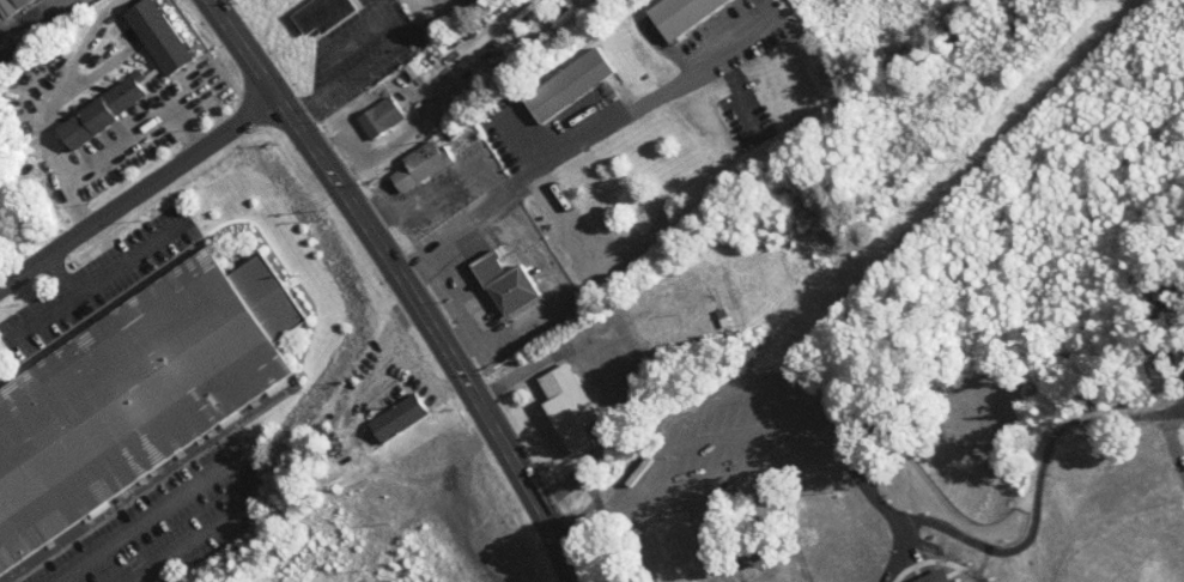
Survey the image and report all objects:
building: (11, 5)
building: (321, 14)
building: (679, 14)
building: (157, 36)
road: (375, 66)
building: (566, 85)
road: (657, 98)
road: (55, 109)
building: (101, 110)
building: (378, 117)
building: (418, 165)
road: (138, 195)
road: (374, 201)
road: (460, 217)
road: (570, 225)
road: (111, 269)
road: (544, 271)
building: (503, 281)
road: (402, 285)
road: (456, 285)
road: (44, 315)
road: (470, 340)
building: (134, 394)
building: (563, 407)
building: (395, 416)
building: (679, 542)

